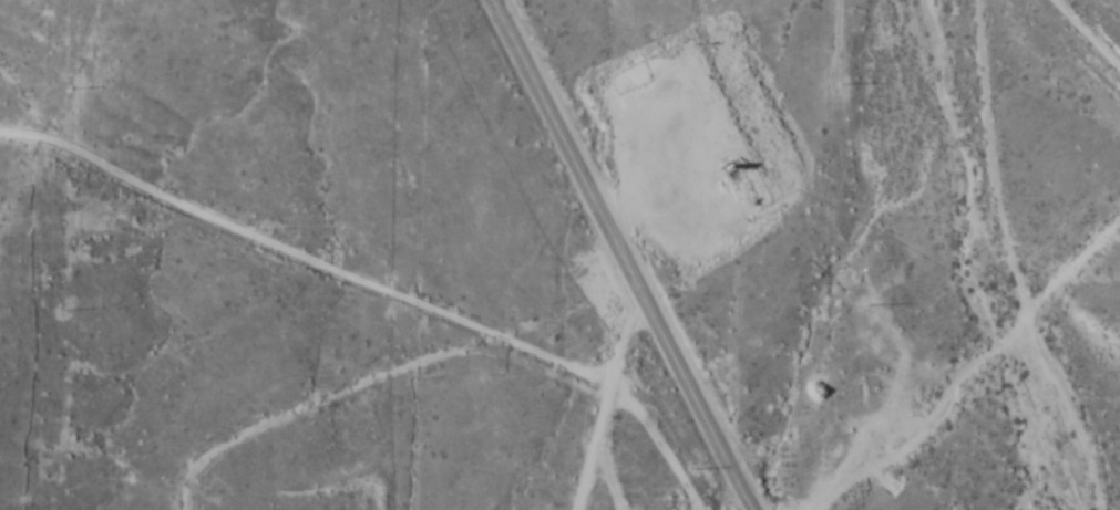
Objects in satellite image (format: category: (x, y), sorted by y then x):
road: (341, 251)
road: (624, 256)
road: (670, 455)

